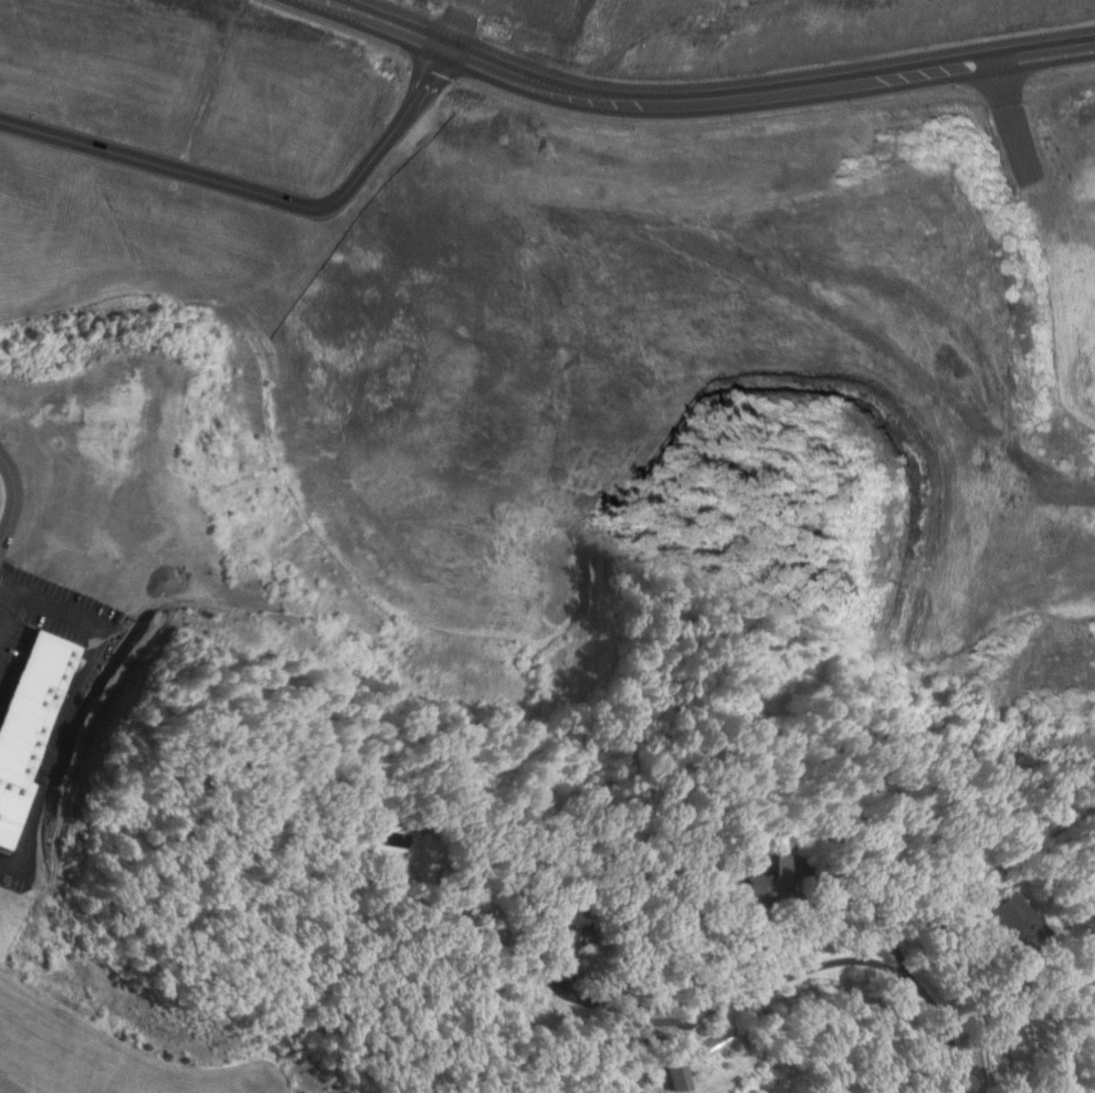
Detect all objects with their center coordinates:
road: (696, 104)
road: (261, 199)
road: (15, 500)
road: (8, 612)
road: (75, 705)
building: (30, 719)
building: (396, 843)
building: (1015, 918)
building: (573, 936)
road: (804, 977)
building: (716, 1044)
building: (676, 1079)

